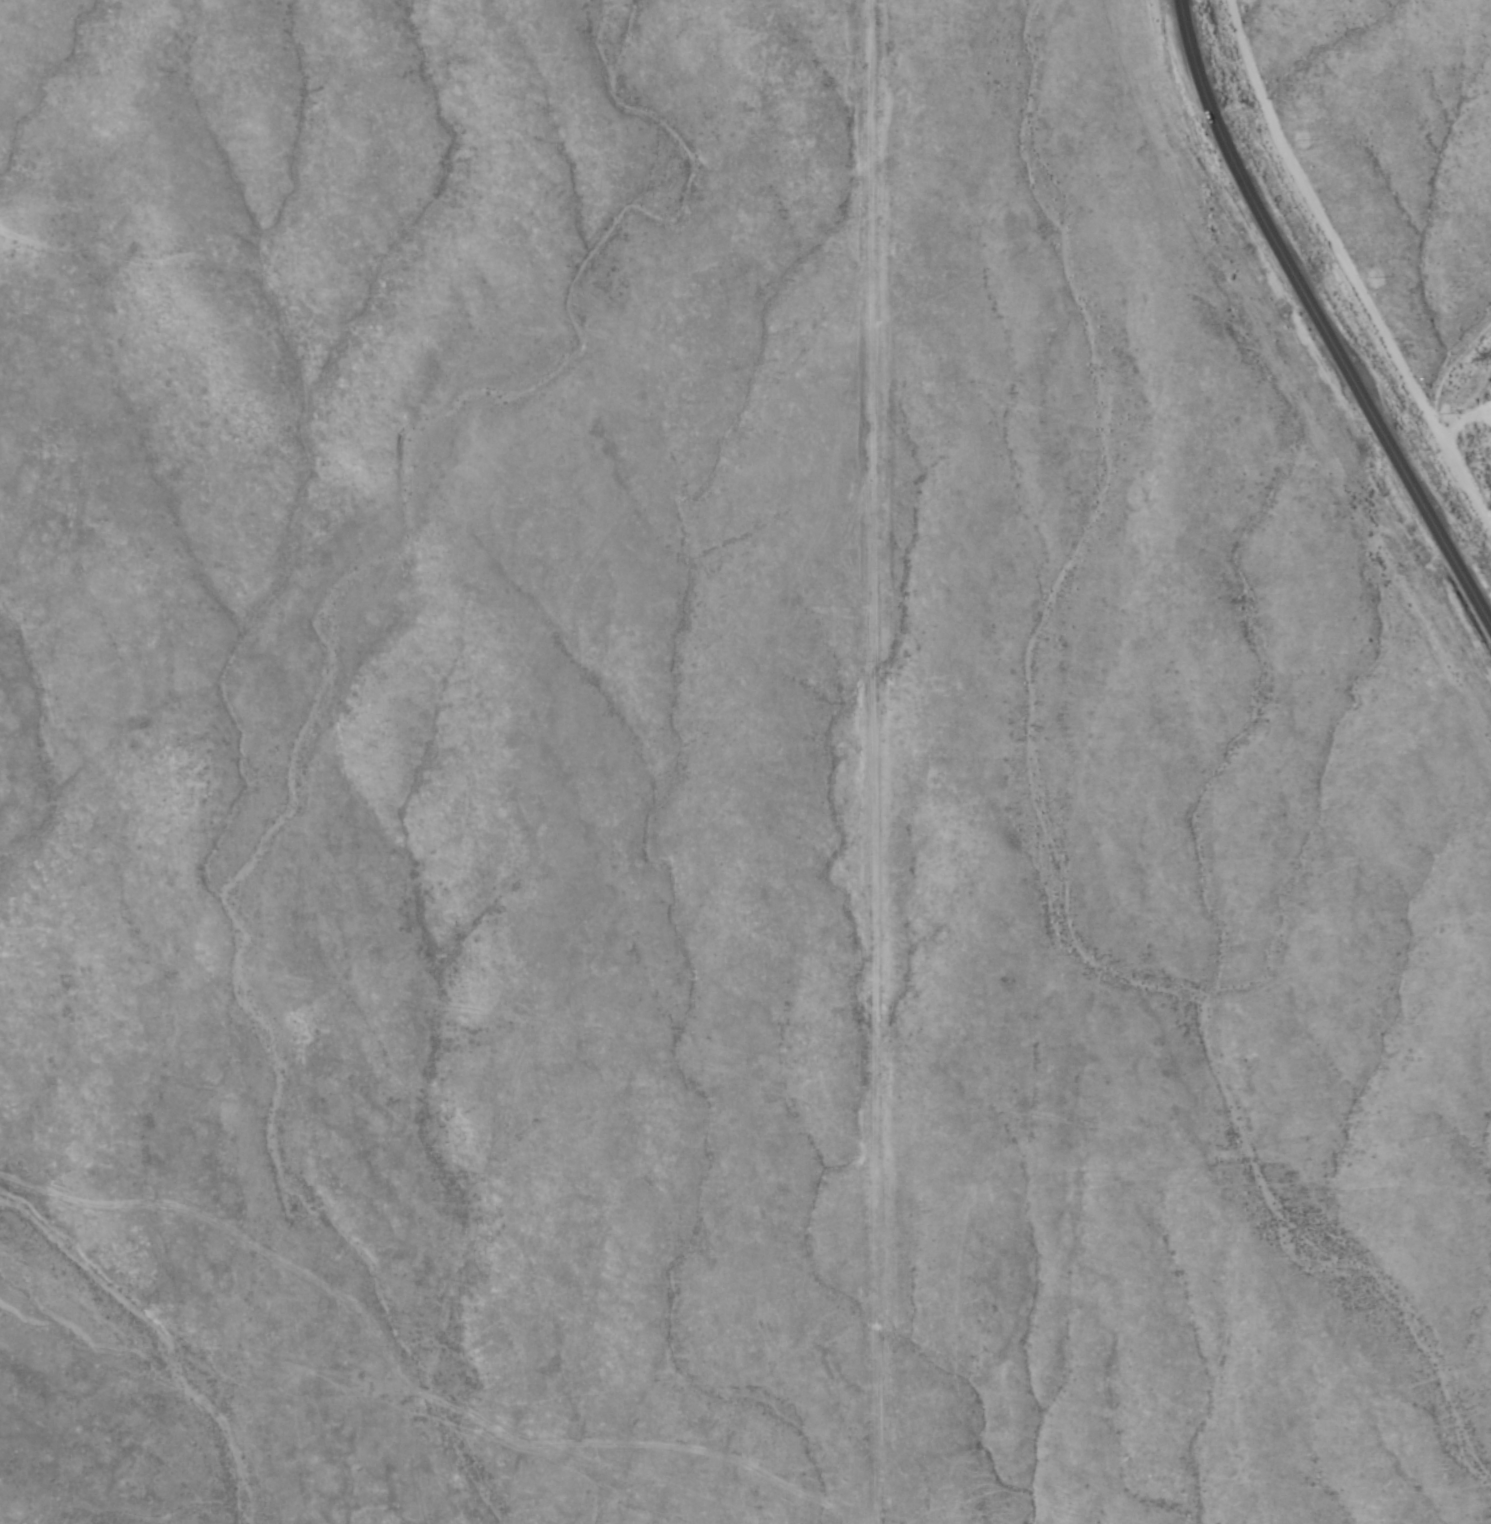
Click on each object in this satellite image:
road: (1324, 317)

